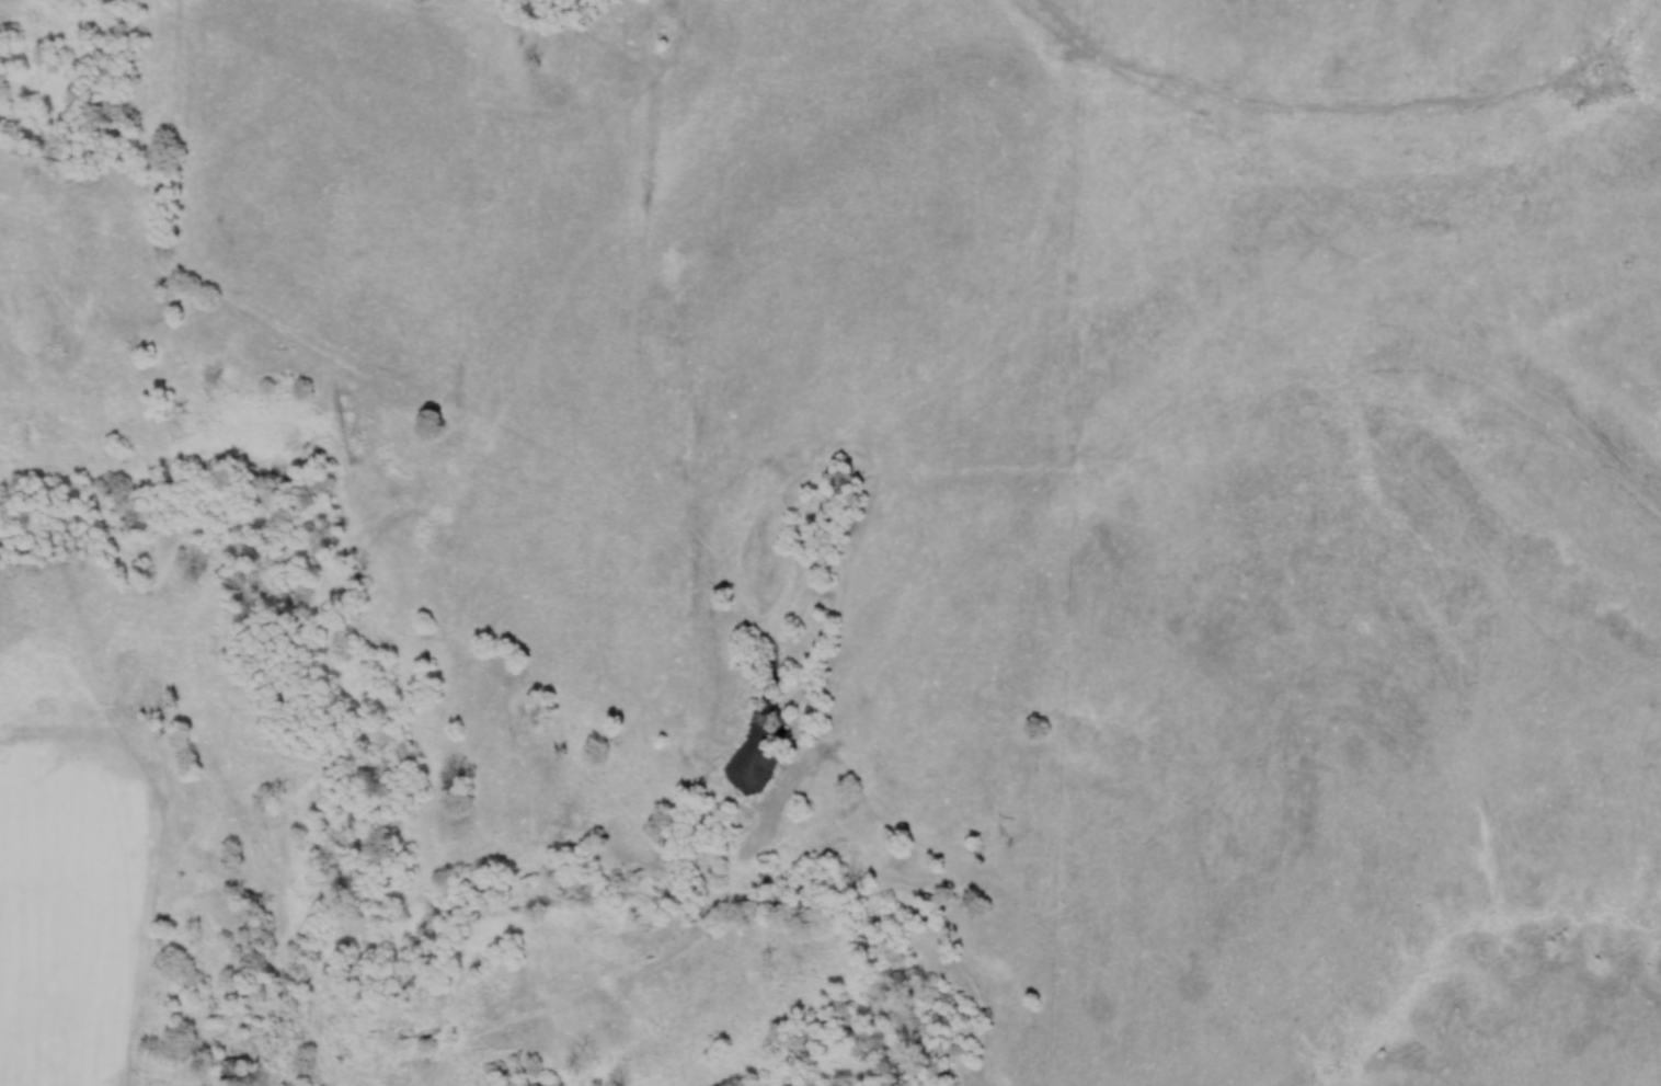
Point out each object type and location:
building: (233, 1072)

